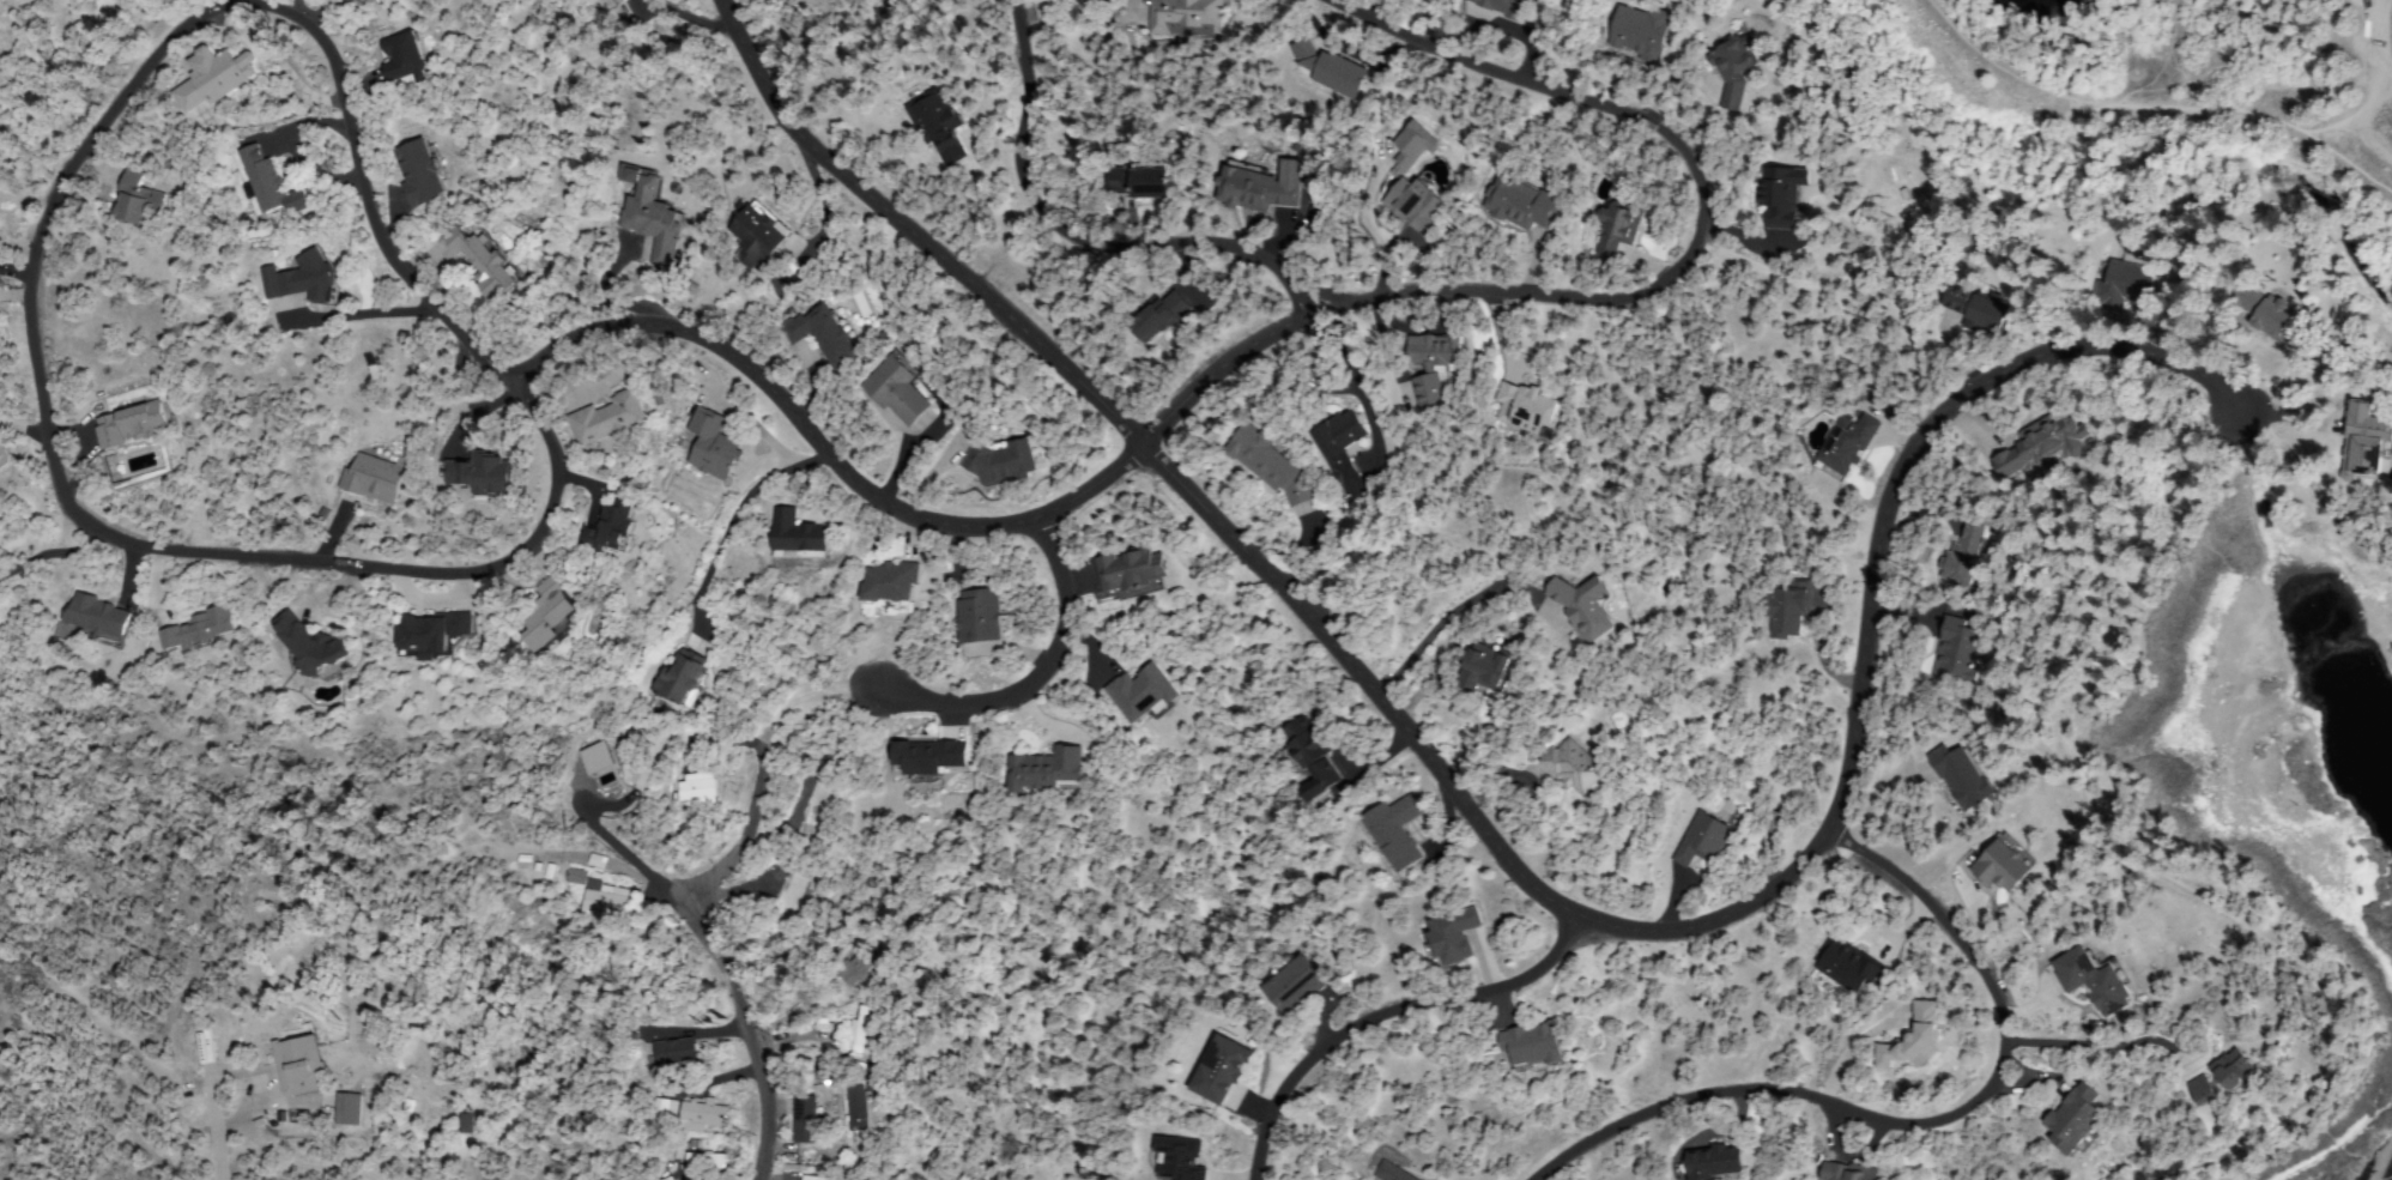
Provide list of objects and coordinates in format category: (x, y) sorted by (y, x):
building: (614, 1)
building: (623, 1)
building: (1509, 6)
building: (1186, 17)
road: (210, 22)
building: (1643, 31)
building: (405, 59)
building: (1736, 67)
building: (1332, 72)
building: (214, 78)
building: (938, 125)
building: (423, 173)
building: (262, 178)
building: (1139, 181)
building: (1262, 187)
building: (1784, 196)
building: (299, 199)
building: (137, 201)
building: (1522, 204)
building: (1415, 205)
building: (652, 214)
building: (1617, 226)
building: (758, 234)
road: (1060, 242)
building: (484, 262)
building: (307, 279)
building: (2126, 283)
road: (1661, 295)
building: (1980, 310)
building: (2266, 313)
building: (1159, 316)
building: (828, 334)
building: (1434, 364)
building: (897, 388)
building: (1527, 409)
building: (610, 418)
building: (131, 424)
building: (1339, 442)
building: (2364, 442)
building: (1847, 443)
building: (715, 446)
building: (2043, 446)
building: (5, 456)
building: (1001, 464)
building: (1270, 465)
building: (484, 474)
building: (374, 479)
building: (610, 527)
building: (799, 537)
building: (1966, 553)
building: (1131, 571)
building: (891, 583)
building: (1585, 607)
building: (1788, 609)
building: (551, 613)
building: (981, 615)
building: (99, 618)
building: (201, 630)
building: (431, 635)
building: (313, 646)
building: (1957, 650)
building: (1486, 670)
building: (682, 679)
road: (1036, 690)
building: (1144, 694)
building: (1308, 756)
building: (932, 757)
building: (605, 762)
building: (1575, 767)
building: (1047, 771)
building: (1962, 776)
building: (700, 788)
road: (1447, 789)
building: (1774, 822)
building: (1394, 831)
building: (1702, 841)
building: (2003, 865)
road: (735, 872)
road: (345, 889)
building: (797, 891)
building: (608, 901)
building: (1451, 937)
building: (1847, 966)
building: (856, 970)
building: (2094, 980)
building: (1294, 984)
road: (1386, 1015)
building: (864, 1033)
building: (1914, 1040)
road: (749, 1042)
building: (1533, 1047)
building: (676, 1052)
building: (301, 1066)
building: (1221, 1071)
building: (2235, 1071)
building: (2203, 1091)
building: (662, 1106)
building: (350, 1109)
building: (805, 1109)
building: (858, 1111)
building: (706, 1117)
building: (468, 1121)
building: (2075, 1121)
road: (1924, 1133)
building: (708, 1161)
building: (1181, 1161)
building: (1715, 1164)
building: (1392, 1173)
building: (1849, 1173)
building: (810, 1176)

